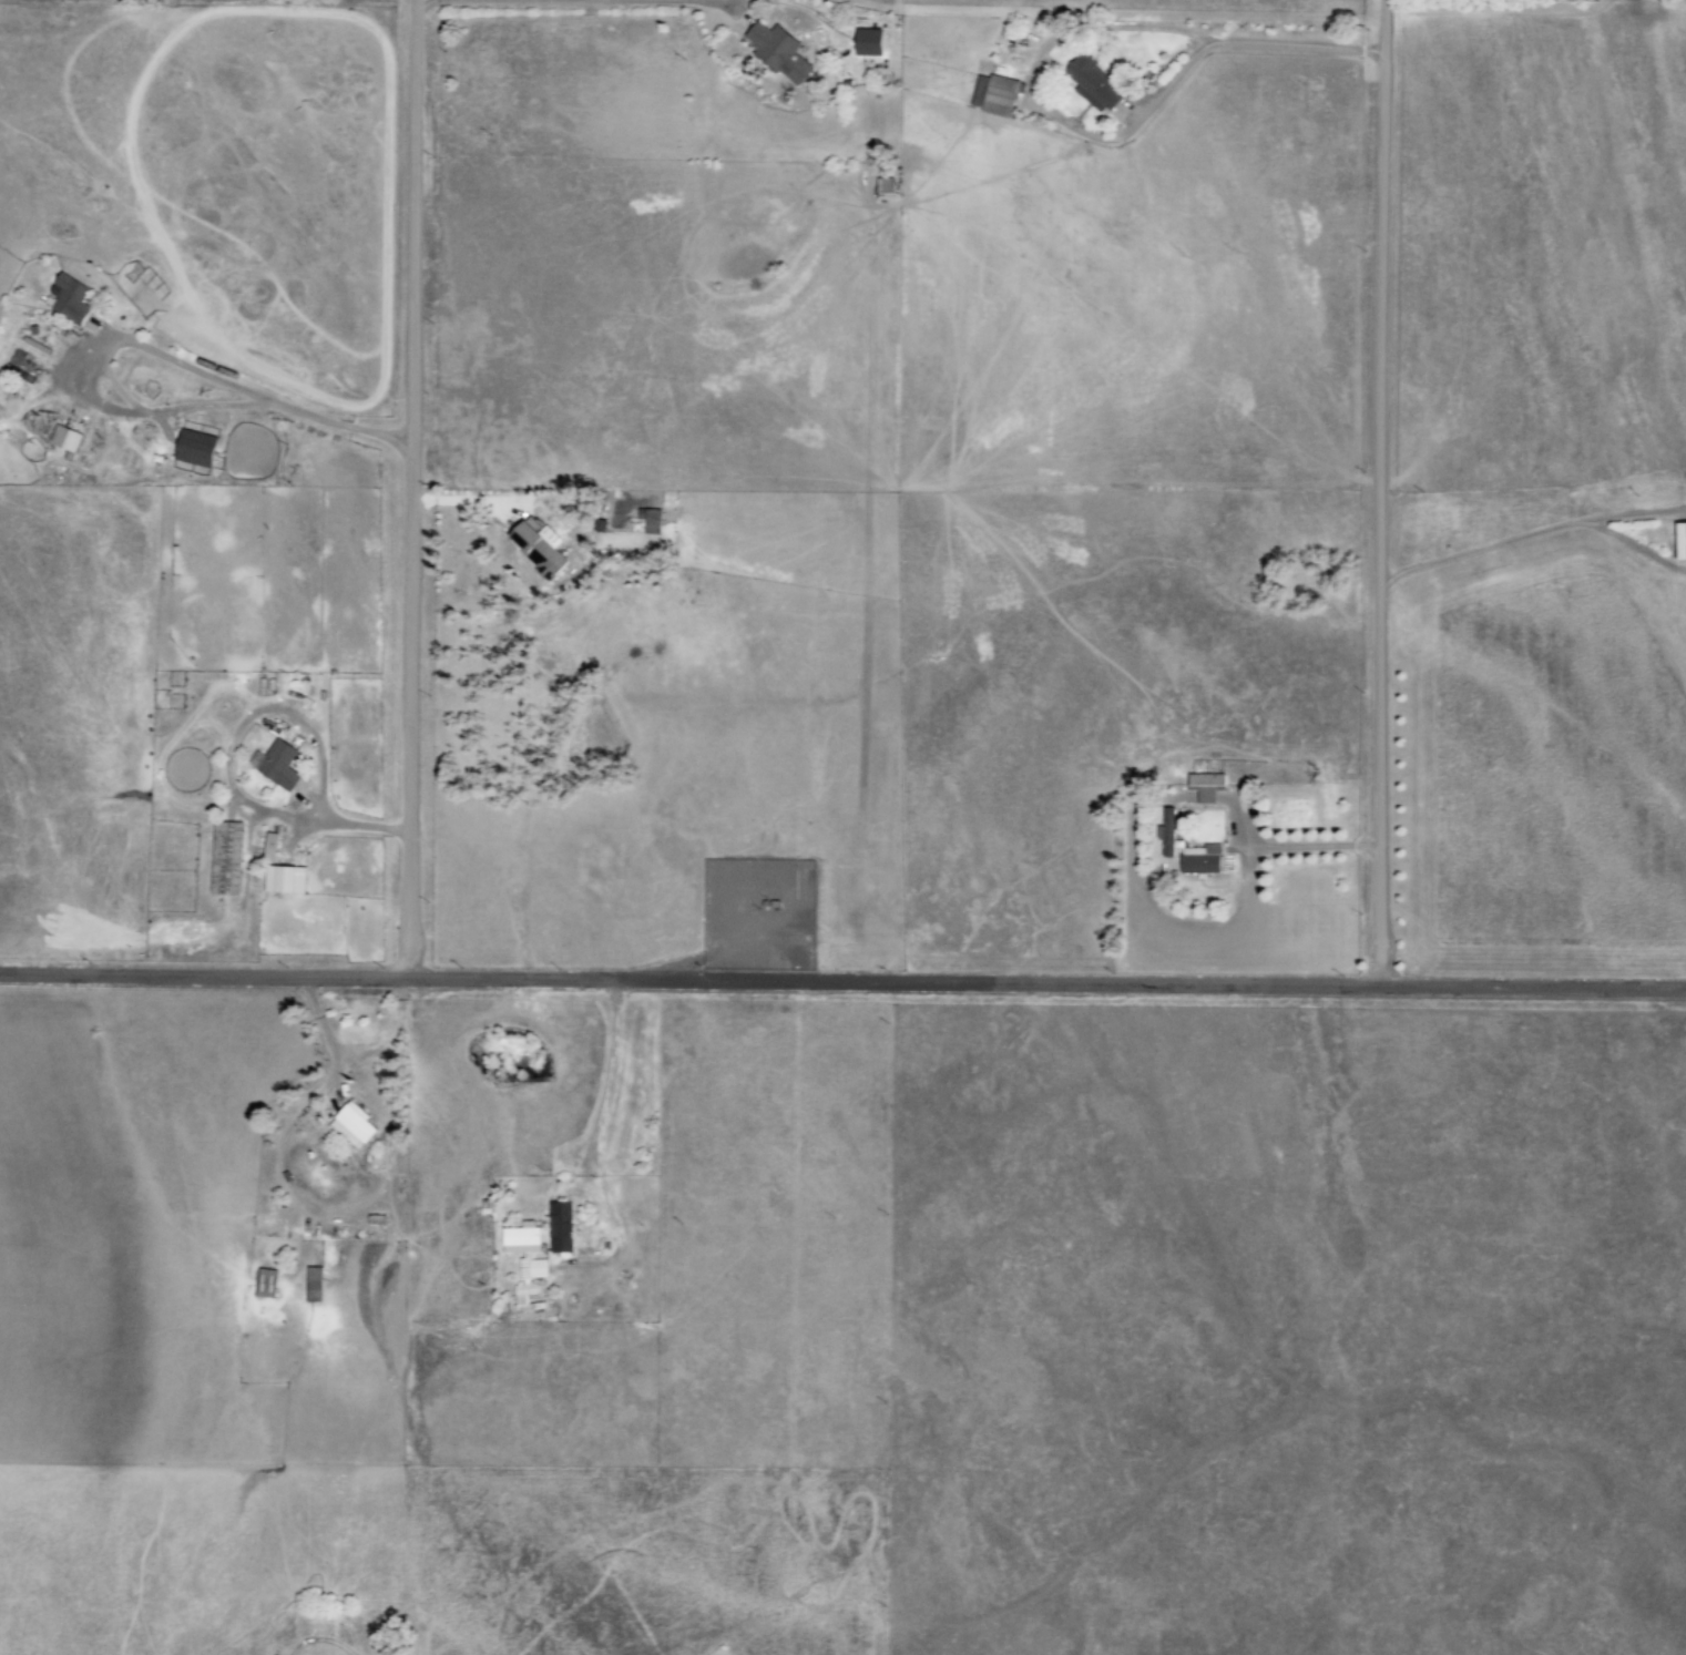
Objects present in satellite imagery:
road: (428, 2)
building: (870, 41)
road: (1239, 43)
building: (779, 51)
building: (1083, 82)
building: (882, 185)
building: (71, 299)
road: (142, 345)
building: (64, 438)
building: (195, 448)
road: (409, 489)
road: (1377, 492)
building: (650, 520)
building: (1676, 541)
building: (540, 548)
building: (277, 764)
building: (1200, 786)
building: (270, 848)
building: (225, 858)
building: (1195, 859)
building: (283, 879)
road: (842, 982)
building: (352, 1124)
building: (561, 1226)
building: (524, 1260)
building: (265, 1283)
building: (314, 1284)

